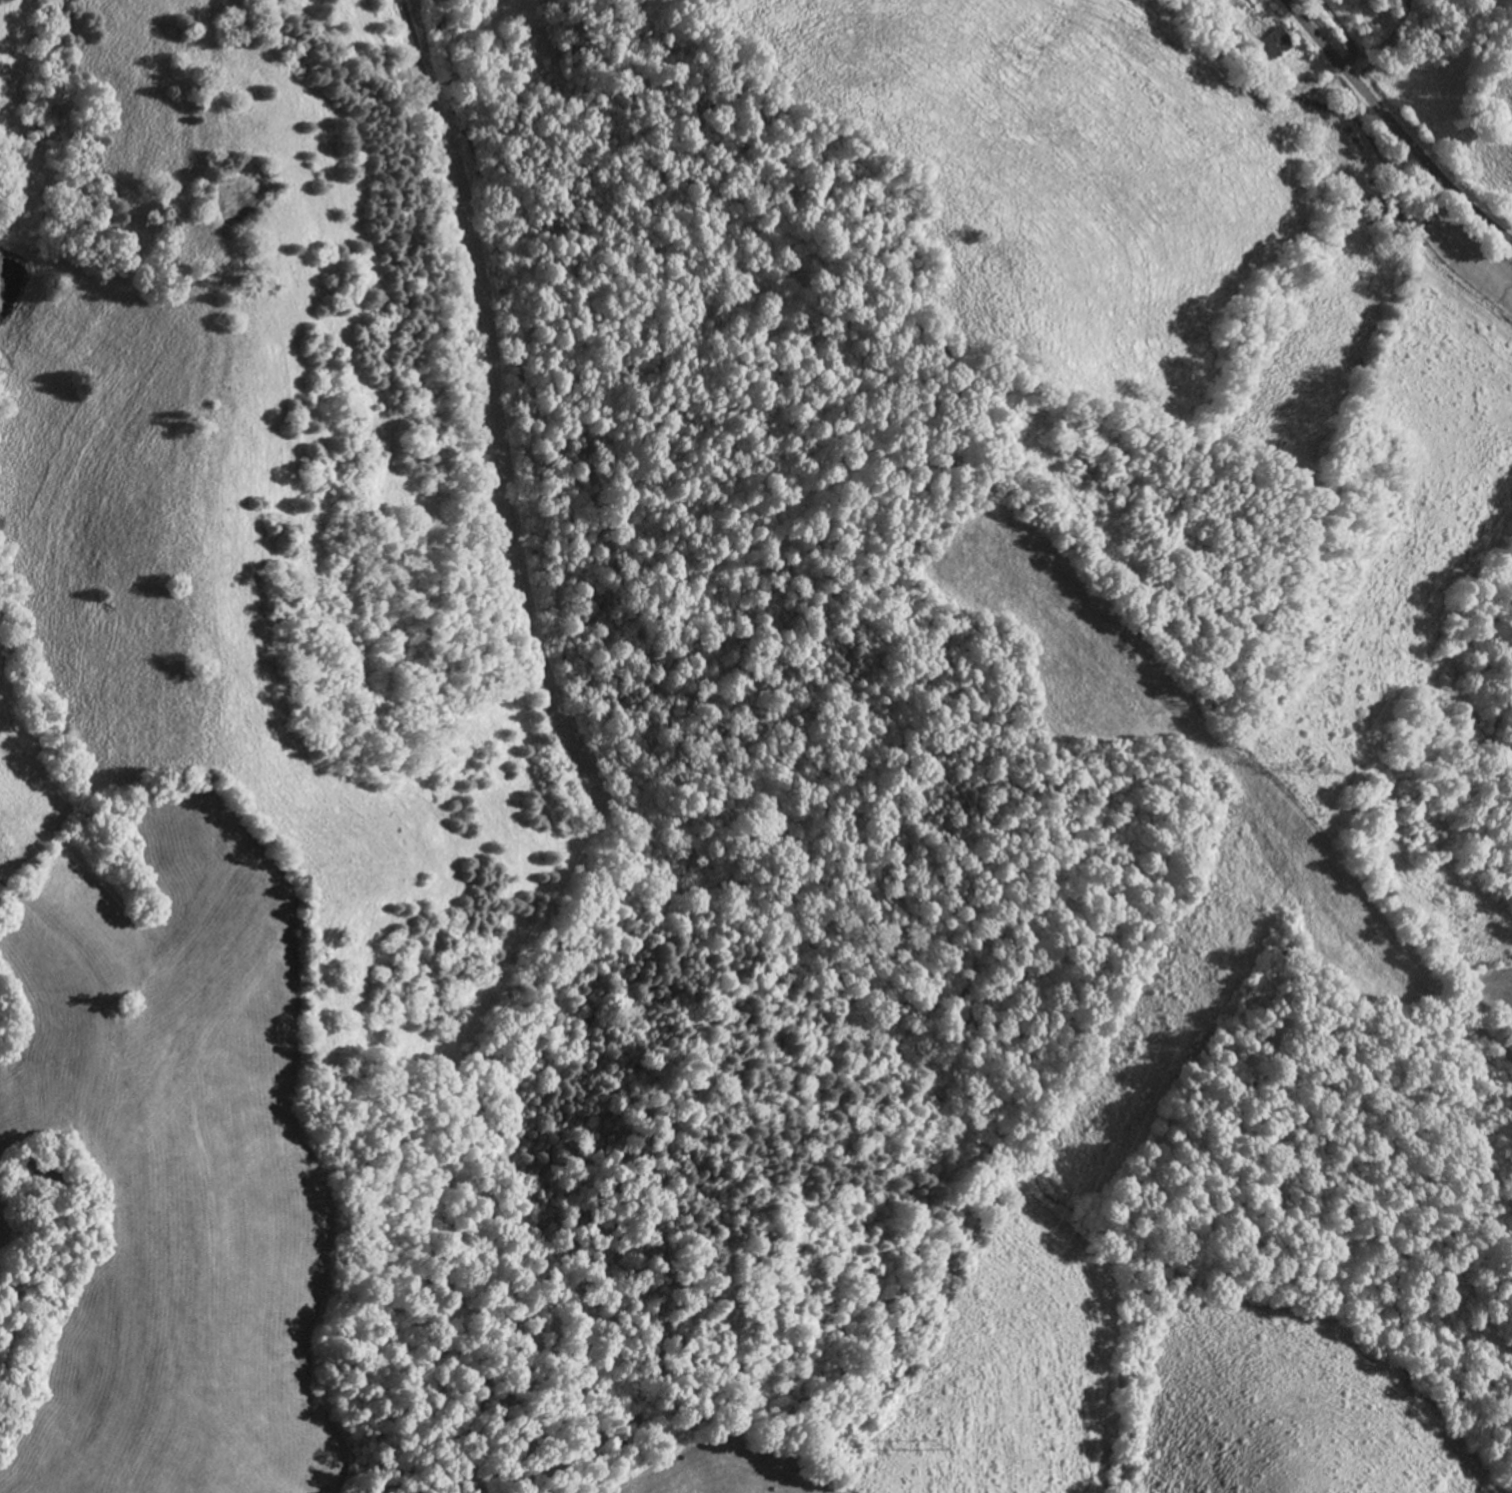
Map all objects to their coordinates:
building: (1283, 42)
road: (1395, 124)
building: (1377, 211)
power tower: (1312, 768)
power tower: (920, 1442)

